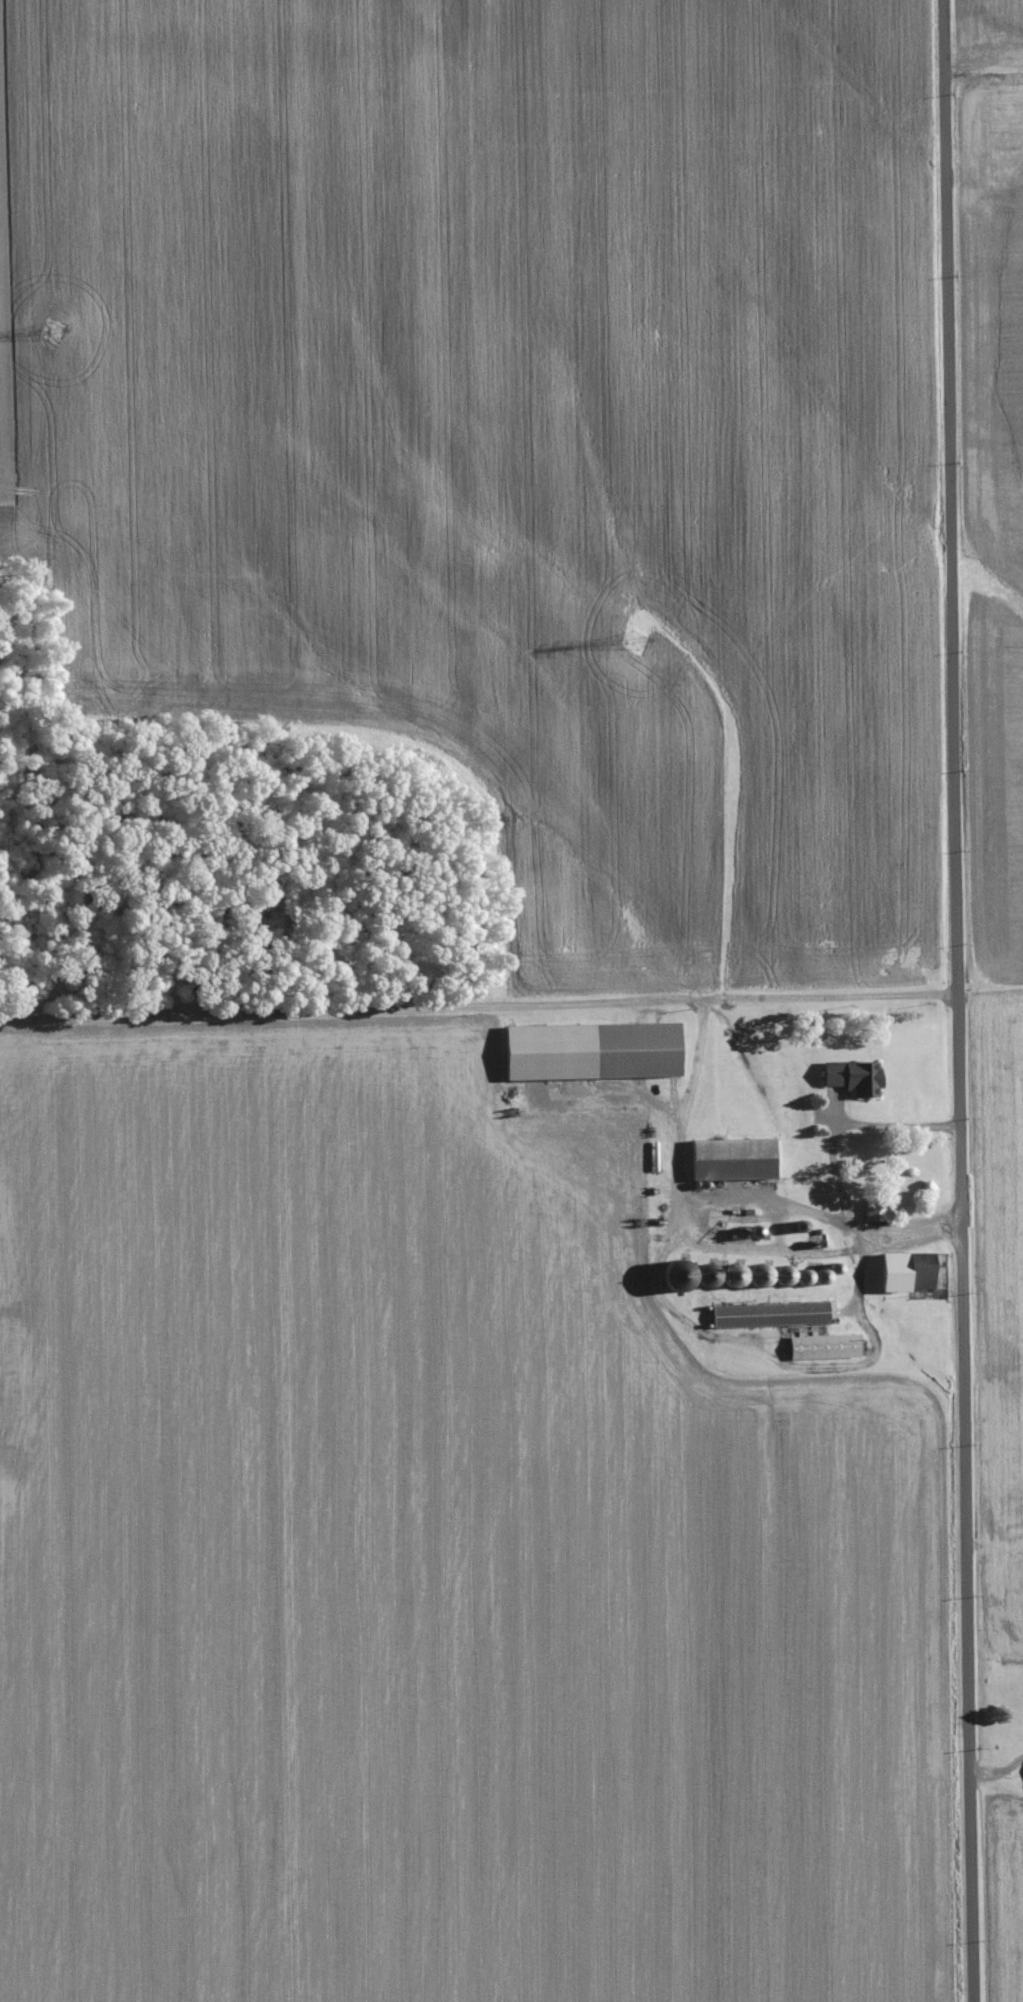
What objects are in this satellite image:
power tower: (39, 350)
power tower: (631, 654)
road: (975, 1000)
road: (488, 1037)
building: (598, 1051)
building: (858, 1078)
building: (738, 1159)
building: (878, 1210)
building: (911, 1272)
building: (774, 1314)
building: (827, 1347)

